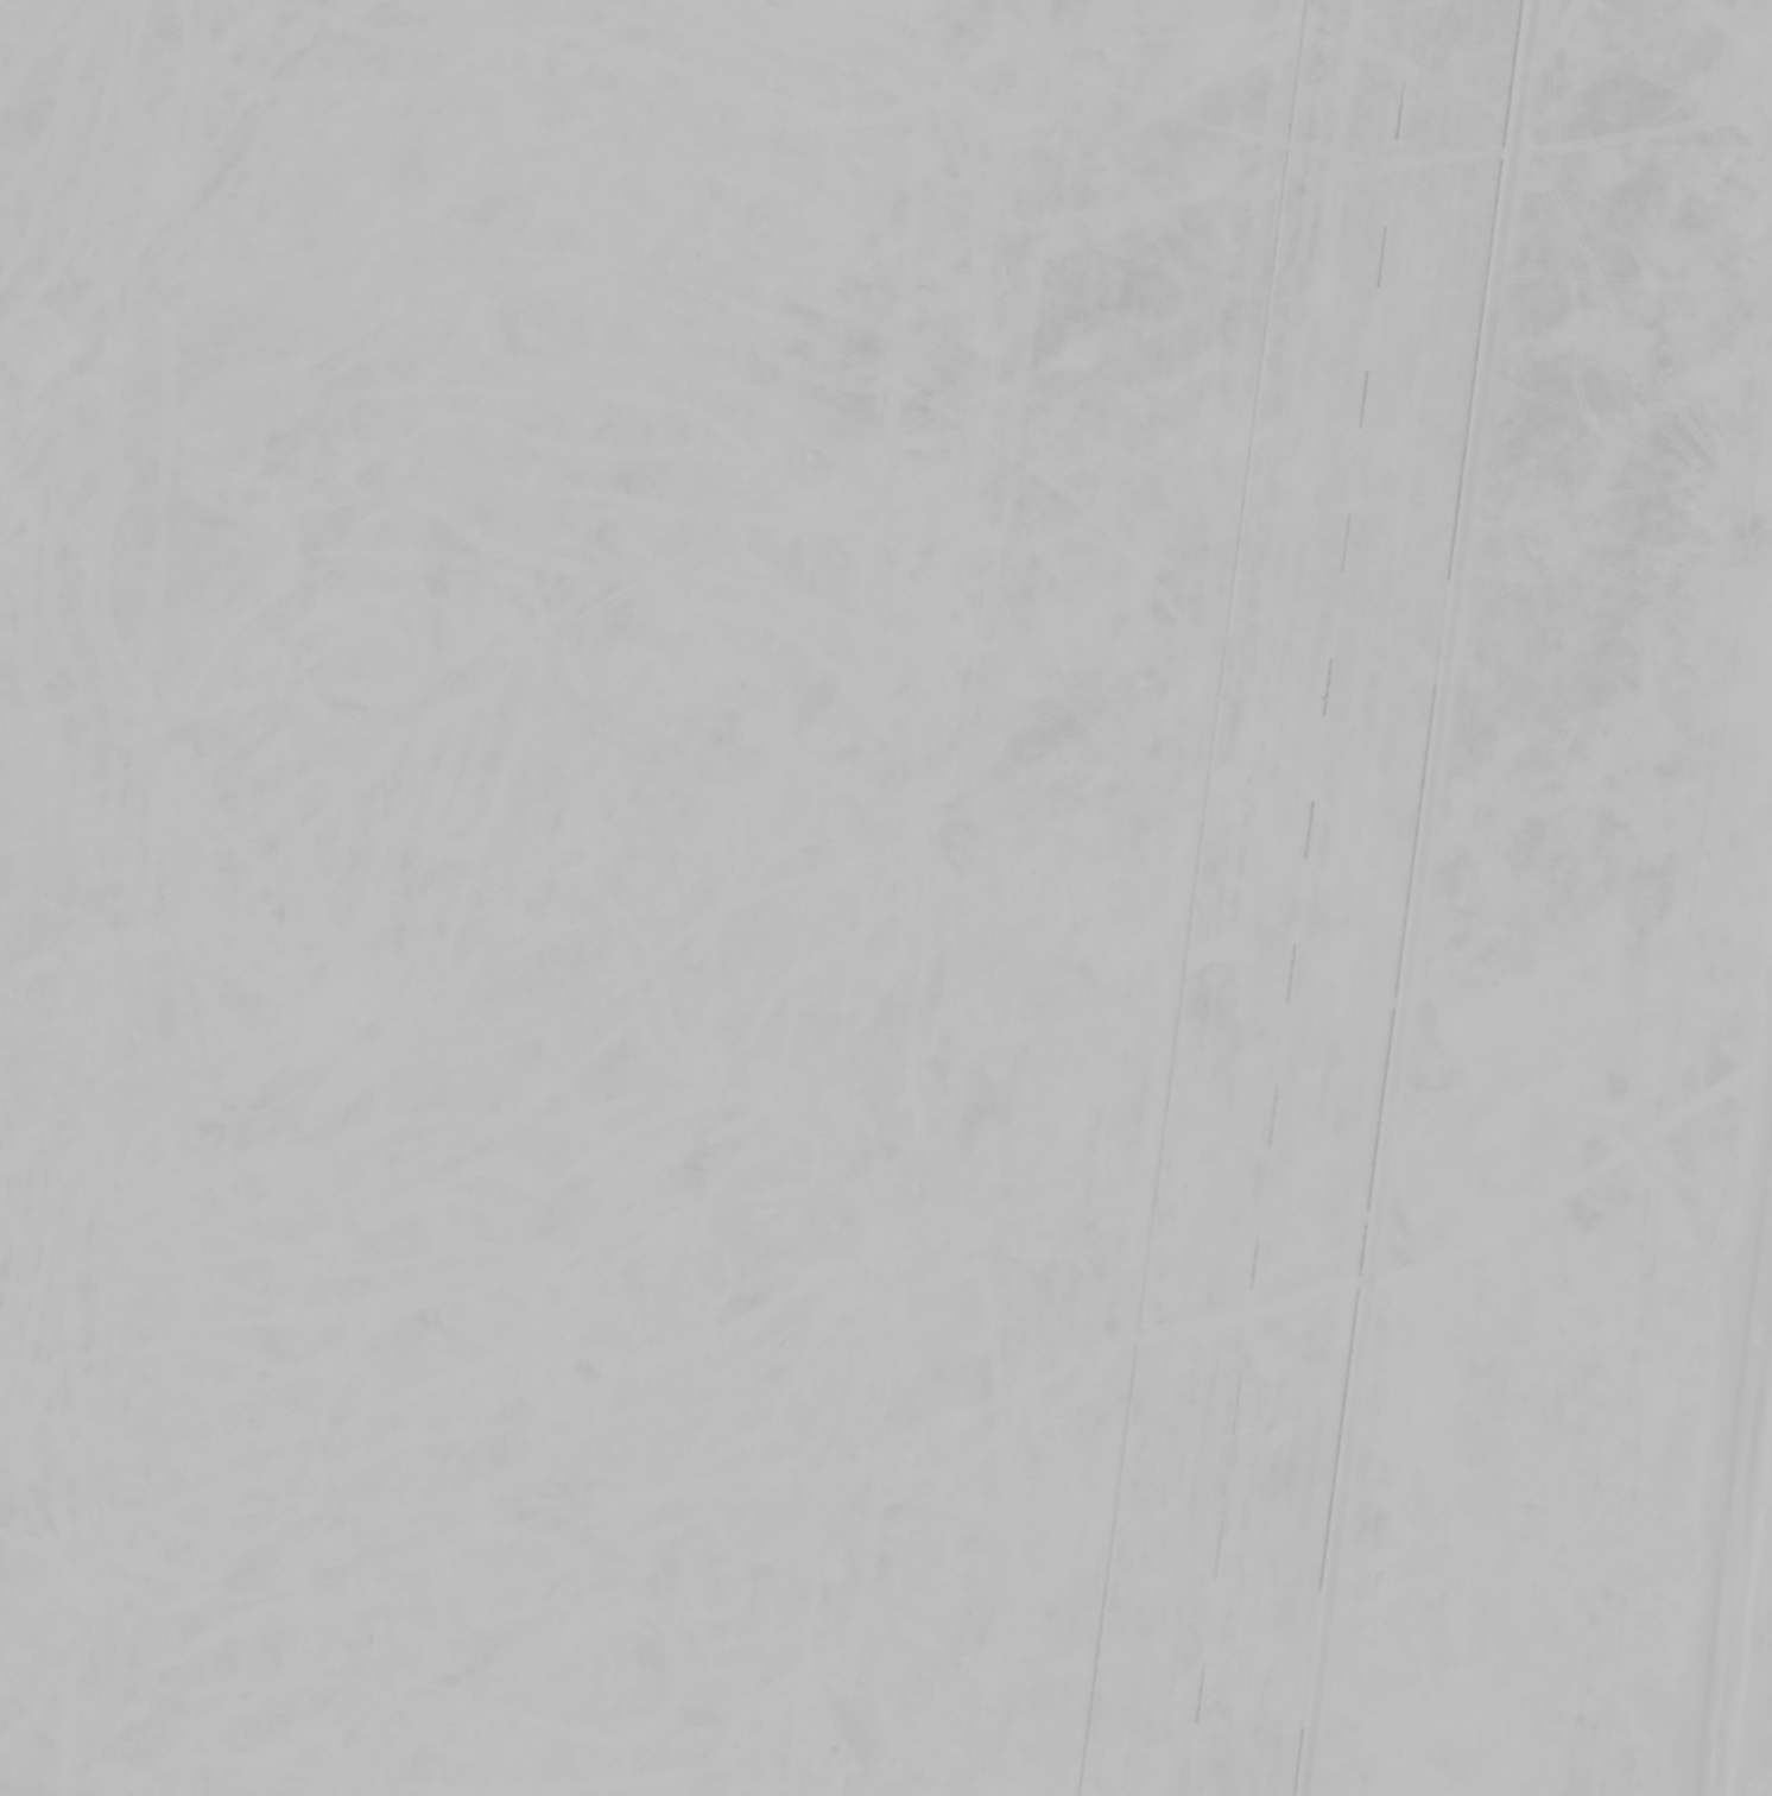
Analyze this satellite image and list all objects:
airport runway: (1290, 898)
building: (310, 937)
road: (1734, 1454)

